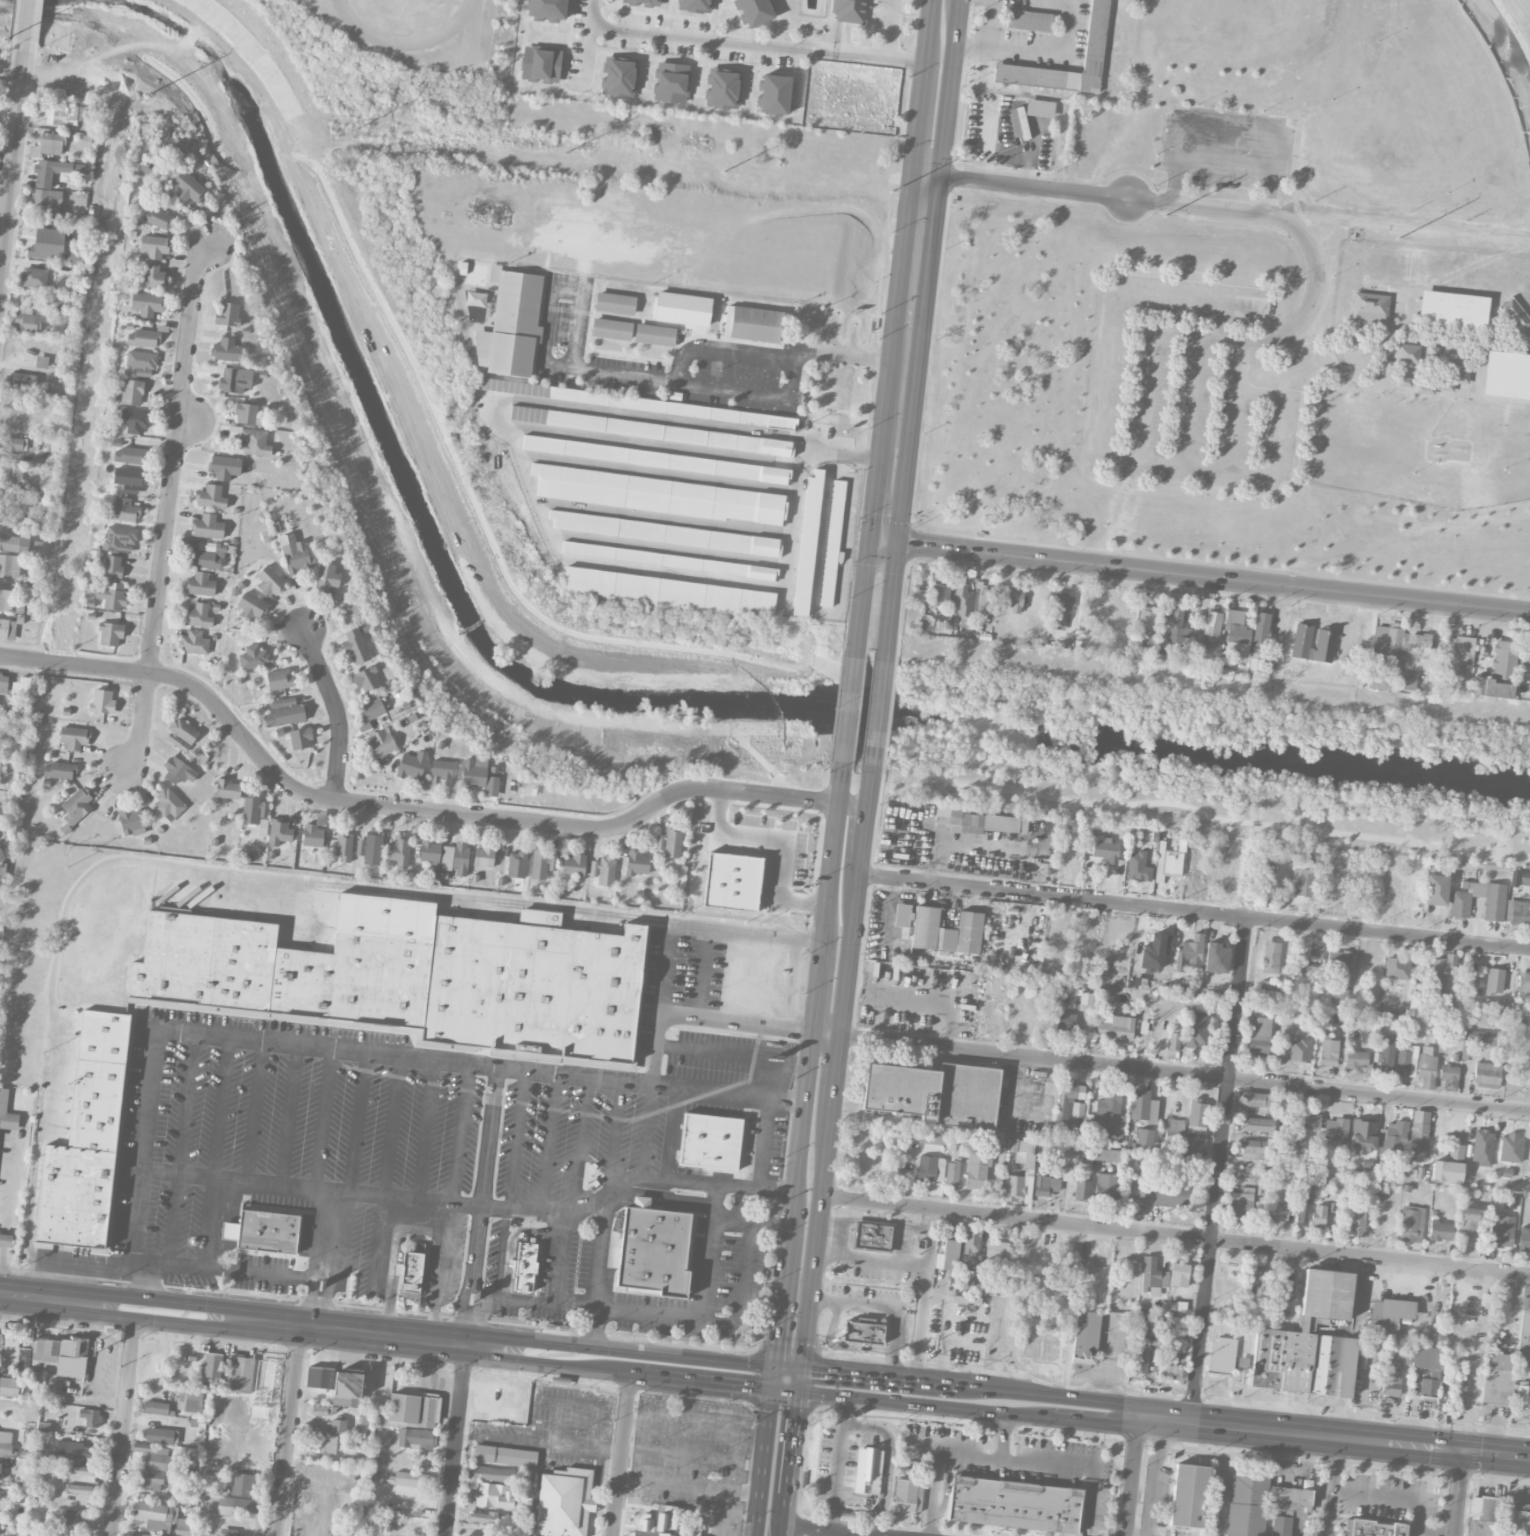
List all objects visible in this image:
building: (642, 2)
building: (695, 5)
building: (547, 10)
building: (849, 10)
building: (755, 12)
road: (954, 15)
building: (1029, 20)
road: (989, 21)
road: (26, 25)
road: (890, 29)
building: (1095, 32)
road: (929, 33)
road: (702, 37)
power tower: (6, 47)
road: (1039, 50)
road: (879, 57)
building: (541, 64)
building: (619, 76)
building: (671, 82)
building: (723, 88)
power tower: (143, 94)
building: (775, 94)
road: (947, 108)
building: (1040, 108)
building: (65, 115)
road: (920, 118)
building: (1019, 122)
power tower: (355, 126)
building: (48, 145)
power tower: (565, 152)
road: (12, 153)
road: (1226, 161)
building: (80, 169)
power tower: (723, 172)
building: (48, 185)
building: (187, 187)
power tower: (892, 190)
road: (918, 192)
road: (1174, 203)
building: (492, 214)
power tower: (1166, 215)
building: (159, 219)
road: (1409, 228)
power tower: (1401, 240)
building: (47, 244)
building: (154, 246)
building: (78, 257)
building: (34, 277)
building: (152, 278)
building: (147, 303)
building: (615, 303)
park: (1262, 306)
building: (682, 308)
building: (1370, 308)
road: (912, 310)
building: (1452, 310)
building: (228, 314)
building: (1515, 314)
building: (28, 321)
building: (511, 324)
building: (755, 324)
building: (611, 329)
road: (1166, 329)
building: (655, 335)
building: (143, 338)
road: (723, 349)
building: (226, 350)
road: (827, 354)
building: (1403, 356)
building: (41, 361)
building: (141, 362)
road: (576, 367)
building: (1455, 369)
building: (1507, 375)
building: (21, 378)
building: (230, 381)
building: (1404, 381)
parking lot: (1192, 386)
building: (132, 391)
road: (1148, 393)
road: (1192, 397)
building: (637, 403)
building: (247, 413)
road: (1236, 416)
building: (134, 420)
building: (651, 430)
building: (252, 440)
building: (12, 444)
road: (1101, 446)
building: (130, 455)
building: (656, 459)
building: (224, 467)
road: (908, 474)
building: (128, 479)
building: (14, 481)
building: (660, 495)
building: (211, 497)
road: (169, 505)
building: (123, 510)
building: (207, 526)
road: (872, 530)
building: (666, 533)
building: (120, 538)
traffic signals: (872, 539)
road: (887, 541)
building: (14, 543)
building: (832, 543)
traffic signals: (902, 543)
building: (808, 544)
building: (294, 553)
building: (207, 555)
building: (669, 560)
building: (9, 565)
building: (112, 566)
building: (936, 575)
building: (326, 577)
road: (1216, 578)
building: (269, 581)
building: (200, 584)
building: (667, 592)
building: (940, 594)
building: (114, 596)
building: (6, 599)
building: (985, 599)
building: (1014, 599)
building: (962, 600)
road: (895, 602)
building: (1062, 605)
building: (251, 606)
building: (199, 615)
building: (1147, 618)
building: (1057, 624)
building: (1177, 626)
building: (7, 628)
road: (564, 629)
building: (1212, 629)
building: (110, 634)
building: (1237, 634)
building: (1260, 635)
building: (194, 643)
building: (1312, 643)
building: (1397, 644)
building: (354, 646)
building: (1459, 650)
road: (23, 657)
building: (254, 657)
building: (1525, 659)
building: (1498, 672)
building: (279, 679)
building: (366, 679)
building: (1378, 681)
building: (1407, 681)
building: (4, 682)
building: (22, 688)
building: (102, 701)
building: (372, 709)
road: (851, 711)
building: (285, 712)
road: (339, 712)
road: (881, 715)
building: (181, 733)
building: (74, 737)
building: (300, 738)
building: (381, 742)
building: (0, 766)
building: (412, 766)
building: (443, 769)
building: (59, 770)
building: (178, 770)
building: (474, 771)
building: (431, 783)
road: (872, 787)
building: (228, 789)
road: (894, 789)
building: (168, 802)
building: (76, 806)
building: (253, 809)
road: (439, 811)
building: (131, 820)
building: (978, 822)
road: (1240, 823)
building: (262, 826)
building: (279, 831)
building: (313, 835)
road: (867, 835)
road: (786, 839)
building: (669, 843)
building: (344, 846)
building: (370, 848)
building: (398, 850)
building: (1105, 850)
building: (430, 851)
building: (483, 856)
building: (455, 858)
building: (637, 862)
building: (1172, 862)
building: (542, 863)
building: (3, 864)
building: (516, 864)
building: (573, 866)
road: (208, 867)
building: (1138, 867)
building: (603, 870)
building: (1524, 879)
building: (733, 882)
building: (1303, 882)
building: (1436, 889)
building: (1494, 906)
road: (1196, 911)
building: (1518, 912)
building: (902, 920)
building: (946, 931)
road: (853, 949)
building: (1155, 951)
building: (1315, 952)
building: (1189, 953)
building: (1271, 957)
building: (1216, 958)
building: (1340, 960)
building: (1397, 968)
road: (666, 969)
building: (1441, 975)
building: (416, 980)
building: (1494, 980)
building: (1524, 981)
building: (1268, 987)
building: (1338, 996)
building: (967, 1009)
road: (703, 1020)
building: (1065, 1024)
building: (1114, 1027)
building: (1197, 1030)
road: (829, 1032)
building: (1260, 1037)
building: (1173, 1041)
building: (1474, 1041)
road: (346, 1049)
building: (1299, 1050)
building: (1328, 1050)
building: (1356, 1058)
building: (1385, 1058)
building: (1407, 1061)
road: (809, 1065)
building: (1426, 1066)
road: (1186, 1074)
building: (1486, 1075)
road: (839, 1076)
building: (1449, 1077)
building: (934, 1092)
building: (1070, 1099)
building: (1257, 1101)
building: (1139, 1104)
road: (221, 1105)
road: (256, 1109)
building: (8, 1110)
building: (1110, 1110)
road: (289, 1113)
building: (1197, 1116)
road: (324, 1117)
road: (358, 1121)
building: (1313, 1121)
road: (393, 1124)
building: (1258, 1124)
building: (1068, 1126)
road: (427, 1128)
building: (1335, 1129)
road: (647, 1130)
road: (460, 1131)
building: (1174, 1132)
road: (490, 1135)
building: (1418, 1135)
road: (615, 1136)
building: (1144, 1136)
building: (1363, 1136)
road: (518, 1137)
building: (1392, 1139)
building: (88, 1140)
road: (549, 1140)
building: (710, 1141)
road: (764, 1142)
road: (581, 1143)
building: (1195, 1145)
building: (1482, 1146)
road: (180, 1148)
building: (1511, 1148)
building: (1255, 1149)
building: (1449, 1165)
building: (1029, 1167)
building: (930, 1168)
road: (1219, 1170)
building: (977, 1171)
building: (1067, 1173)
building: (1253, 1173)
building: (952, 1174)
road: (11, 1185)
road: (719, 1185)
building: (1046, 1185)
building: (1106, 1186)
building: (1081, 1189)
building: (1134, 1193)
building: (1172, 1193)
road: (407, 1196)
building: (1305, 1201)
building: (1241, 1203)
road: (497, 1205)
building: (1278, 1211)
building: (1318, 1216)
building: (1356, 1219)
road: (753, 1220)
road: (210, 1221)
building: (1411, 1223)
building: (1469, 1225)
road: (328, 1229)
building: (264, 1230)
building: (1440, 1231)
building: (1501, 1232)
building: (872, 1236)
road: (1177, 1236)
building: (4, 1238)
road: (4, 1239)
building: (1524, 1239)
road: (384, 1241)
road: (819, 1244)
building: (969, 1248)
building: (654, 1249)
road: (600, 1251)
building: (996, 1252)
road: (447, 1253)
building: (950, 1254)
road: (559, 1257)
road: (1, 1258)
building: (525, 1266)
building: (410, 1273)
building: (1178, 1273)
building: (1153, 1277)
building: (1257, 1277)
road: (743, 1286)
building: (1282, 1287)
road: (44, 1295)
road: (925, 1295)
road: (168, 1299)
road: (513, 1299)
road: (312, 1302)
road: (706, 1307)
road: (386, 1316)
building: (1388, 1317)
road: (165, 1322)
road: (431, 1324)
road: (336, 1330)
building: (863, 1330)
building: (1524, 1330)
building: (1439, 1332)
building: (1086, 1336)
building: (0, 1341)
building: (1310, 1341)
traffic signals: (779, 1343)
road: (601, 1348)
building: (1221, 1353)
building: (1398, 1353)
building: (61, 1355)
building: (1141, 1355)
building: (1172, 1361)
road: (533, 1363)
building: (1242, 1364)
building: (1428, 1368)
building: (214, 1369)
road: (790, 1369)
traffic signals: (825, 1373)
building: (239, 1374)
building: (319, 1377)
road: (872, 1377)
road: (775, 1378)
building: (1497, 1378)
road: (803, 1381)
road: (707, 1382)
building: (1390, 1385)
building: (9, 1386)
road: (958, 1386)
traffic signals: (751, 1387)
building: (347, 1389)
road: (788, 1390)
building: (1522, 1397)
road: (1072, 1398)
building: (189, 1401)
road: (926, 1406)
building: (155, 1408)
building: (414, 1409)
building: (90, 1417)
traffic signals: (799, 1417)
road: (1138, 1417)
road: (687, 1419)
building: (366, 1423)
road: (1094, 1424)
road: (1152, 1424)
building: (336, 1426)
road: (123, 1428)
road: (290, 1431)
building: (159, 1435)
road: (456, 1435)
road: (1315, 1436)
building: (27, 1437)
building: (417, 1438)
road: (796, 1441)
building: (5, 1442)
building: (323, 1443)
building: (73, 1450)
traffic signals: (1464, 1450)
road: (680, 1451)
building: (46, 1453)
road: (1497, 1453)
road: (622, 1454)
road: (950, 1454)
building: (505, 1455)
building: (155, 1457)
road: (765, 1462)
road: (839, 1463)
road: (1071, 1468)
building: (82, 1470)
building: (869, 1472)
building: (491, 1473)
building: (528, 1477)
building: (409, 1479)
building: (150, 1481)
road: (1131, 1482)
building: (242, 1484)
road: (690, 1485)
building: (80, 1489)
road: (1459, 1492)
building: (905, 1494)
building: (1189, 1494)
building: (3, 1495)
road: (1384, 1495)
building: (493, 1496)
building: (1291, 1497)
building: (565, 1502)
building: (1247, 1502)
building: (1014, 1505)
building: (236, 1506)
building: (411, 1506)
road: (722, 1513)
road: (788, 1514)
building: (1483, 1515)
building: (478, 1516)
building: (74, 1517)
building: (160, 1517)
building: (1520, 1519)
building: (664, 1522)
building: (1280, 1526)
building: (1373, 1528)
road: (841, 1529)
building: (228, 1532)
building: (344, 1534)
building: (149, 1535)

